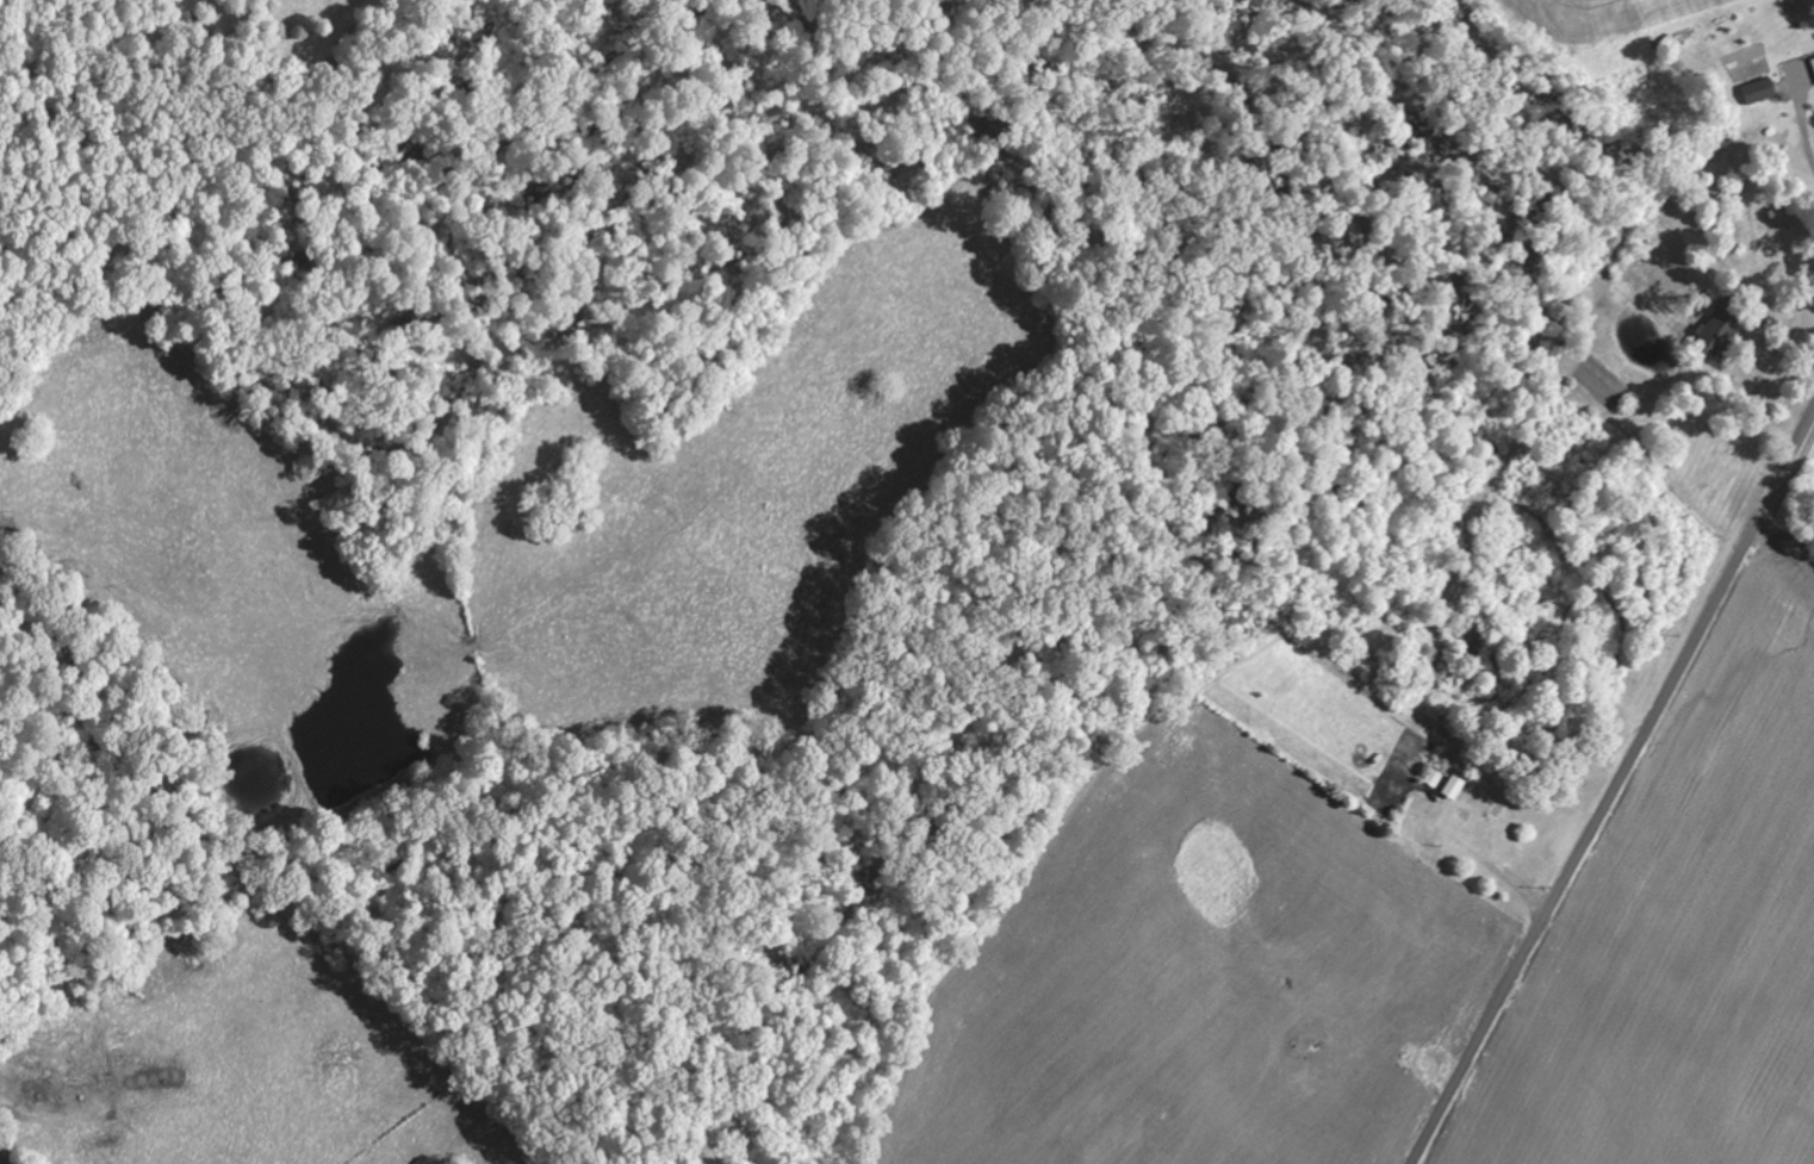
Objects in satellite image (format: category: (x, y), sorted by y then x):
building: (1812, 67)
building: (1756, 92)
building: (1709, 338)
building: (1459, 789)
road: (1616, 790)

